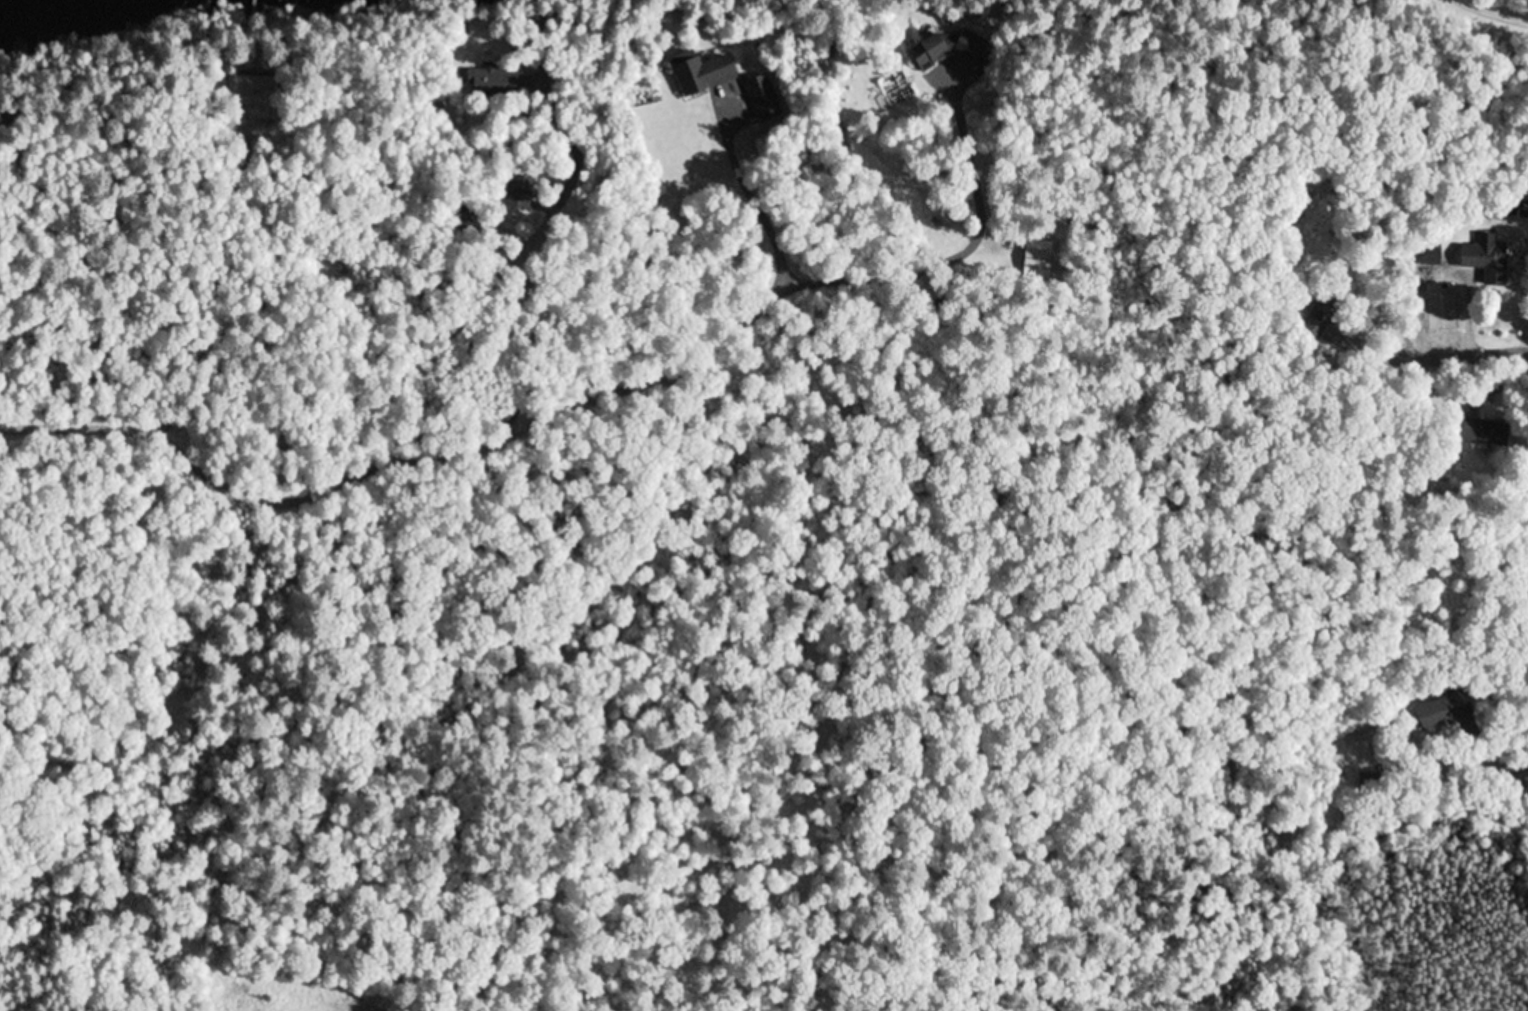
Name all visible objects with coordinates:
building: (949, 49)
building: (707, 74)
building: (490, 80)
building: (250, 90)
building: (763, 99)
building: (505, 194)
building: (1487, 258)
building: (1032, 263)
building: (1321, 313)
road: (1467, 352)
building: (1481, 431)
road: (505, 432)
building: (1442, 710)
road: (1522, 756)

